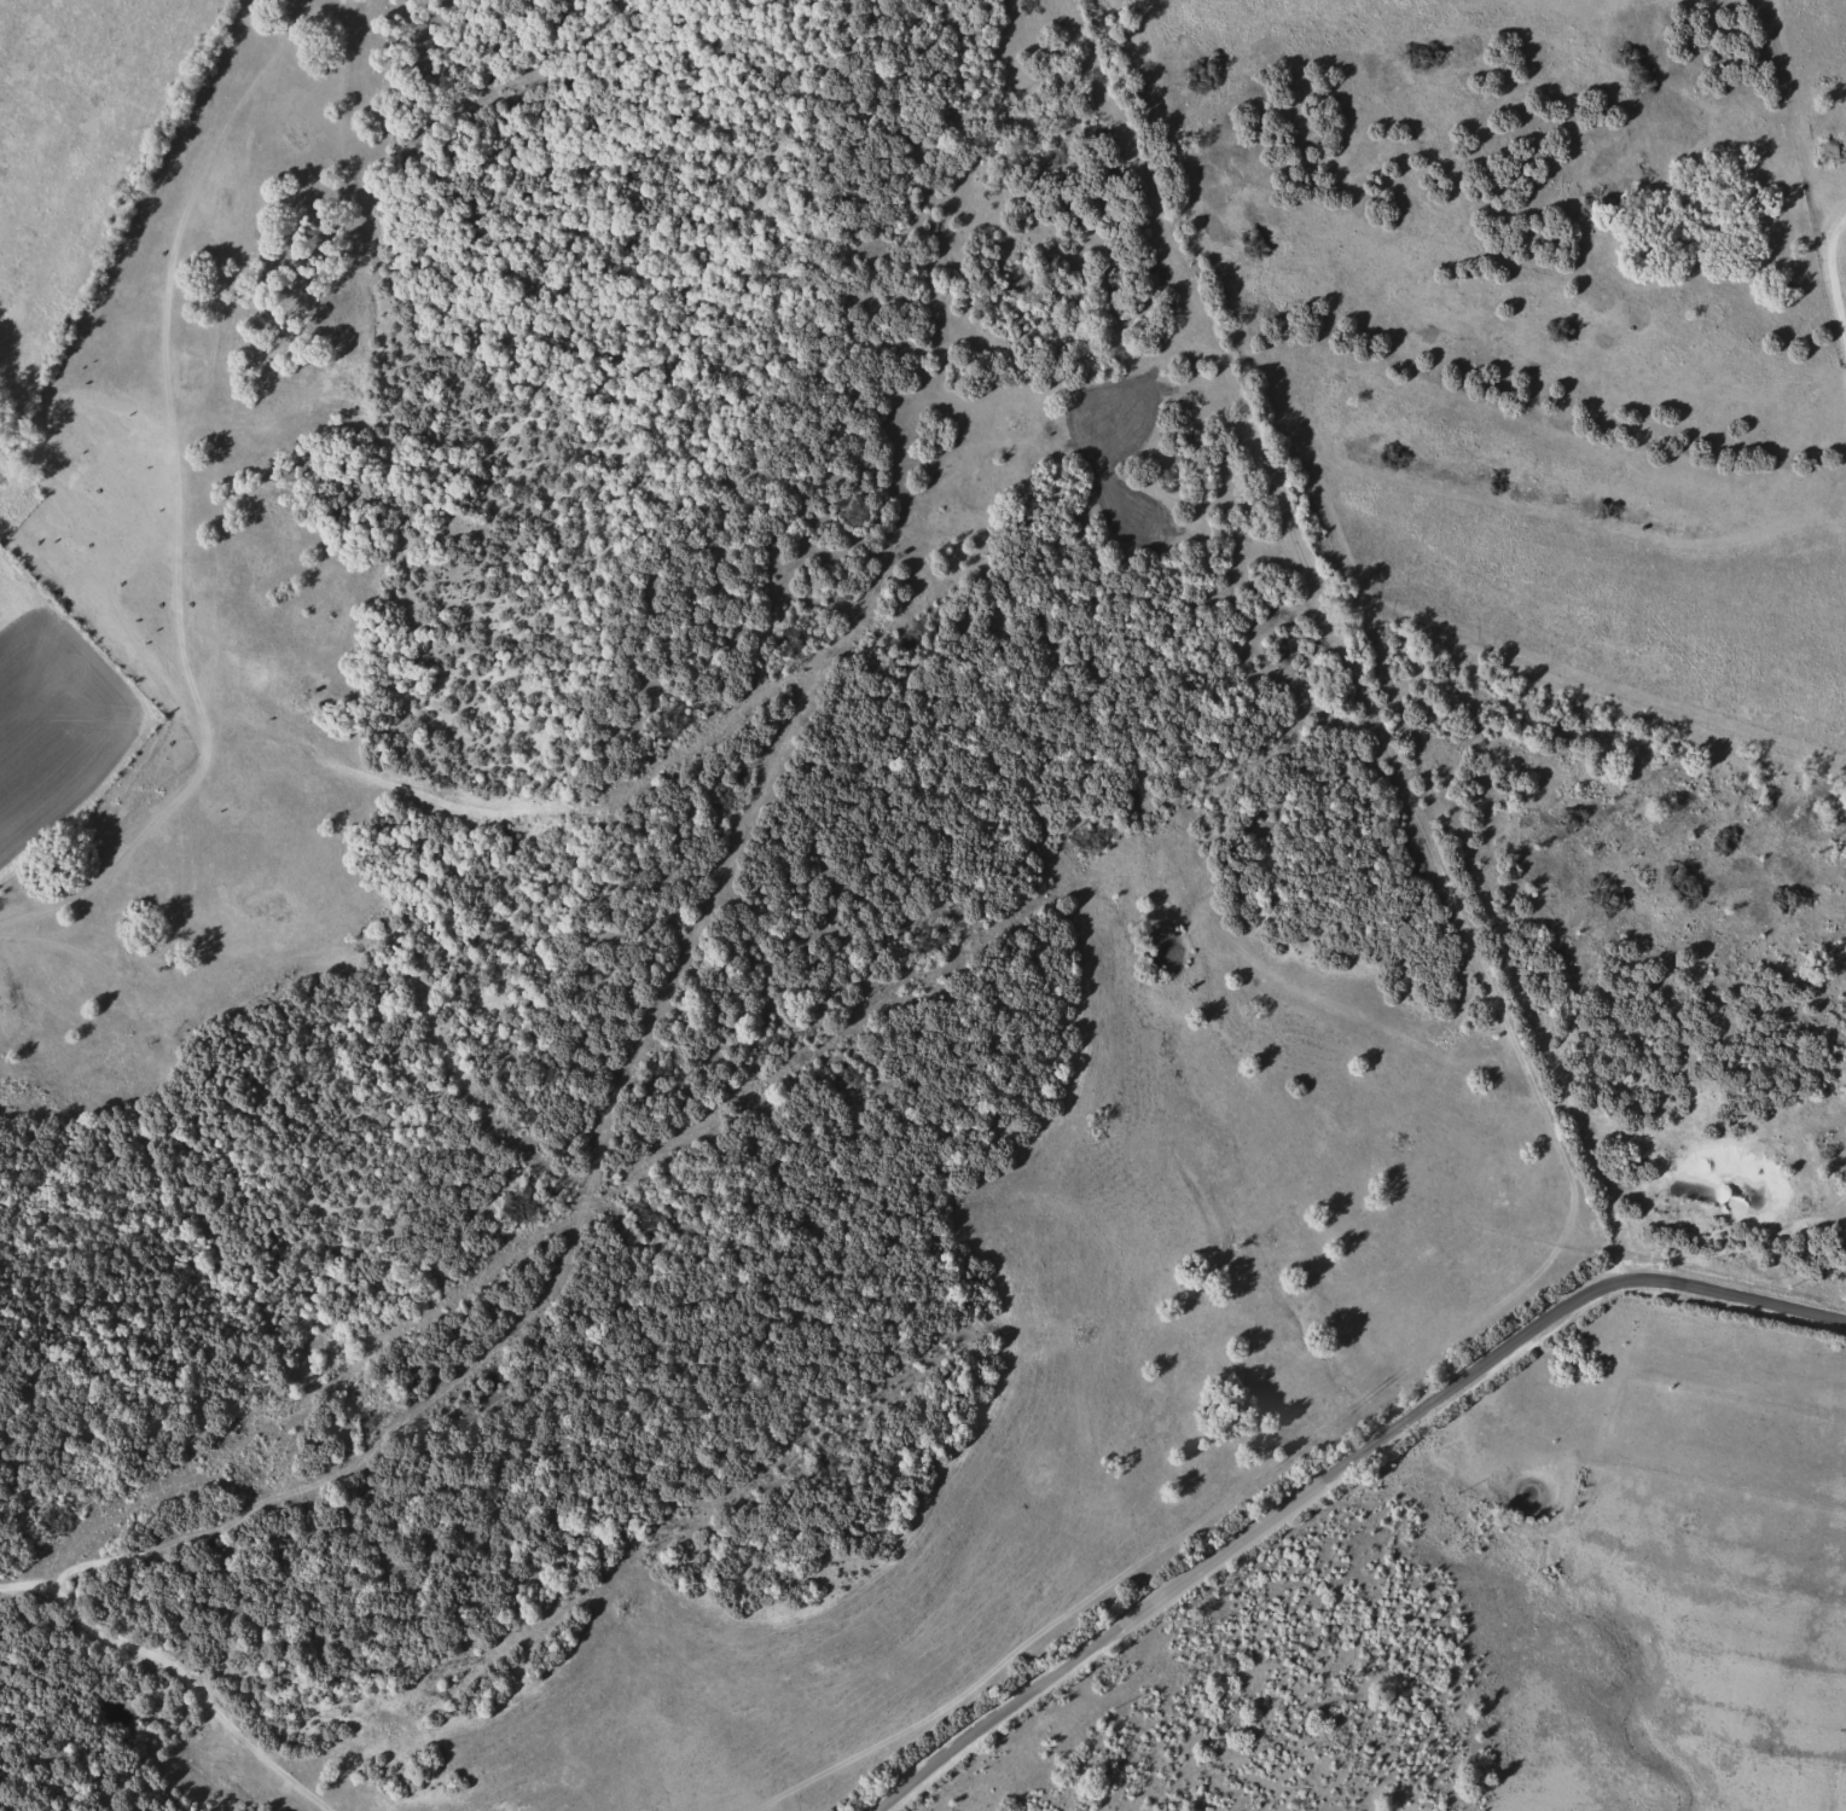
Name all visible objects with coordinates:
road: (188, 468)
road: (1339, 1472)

